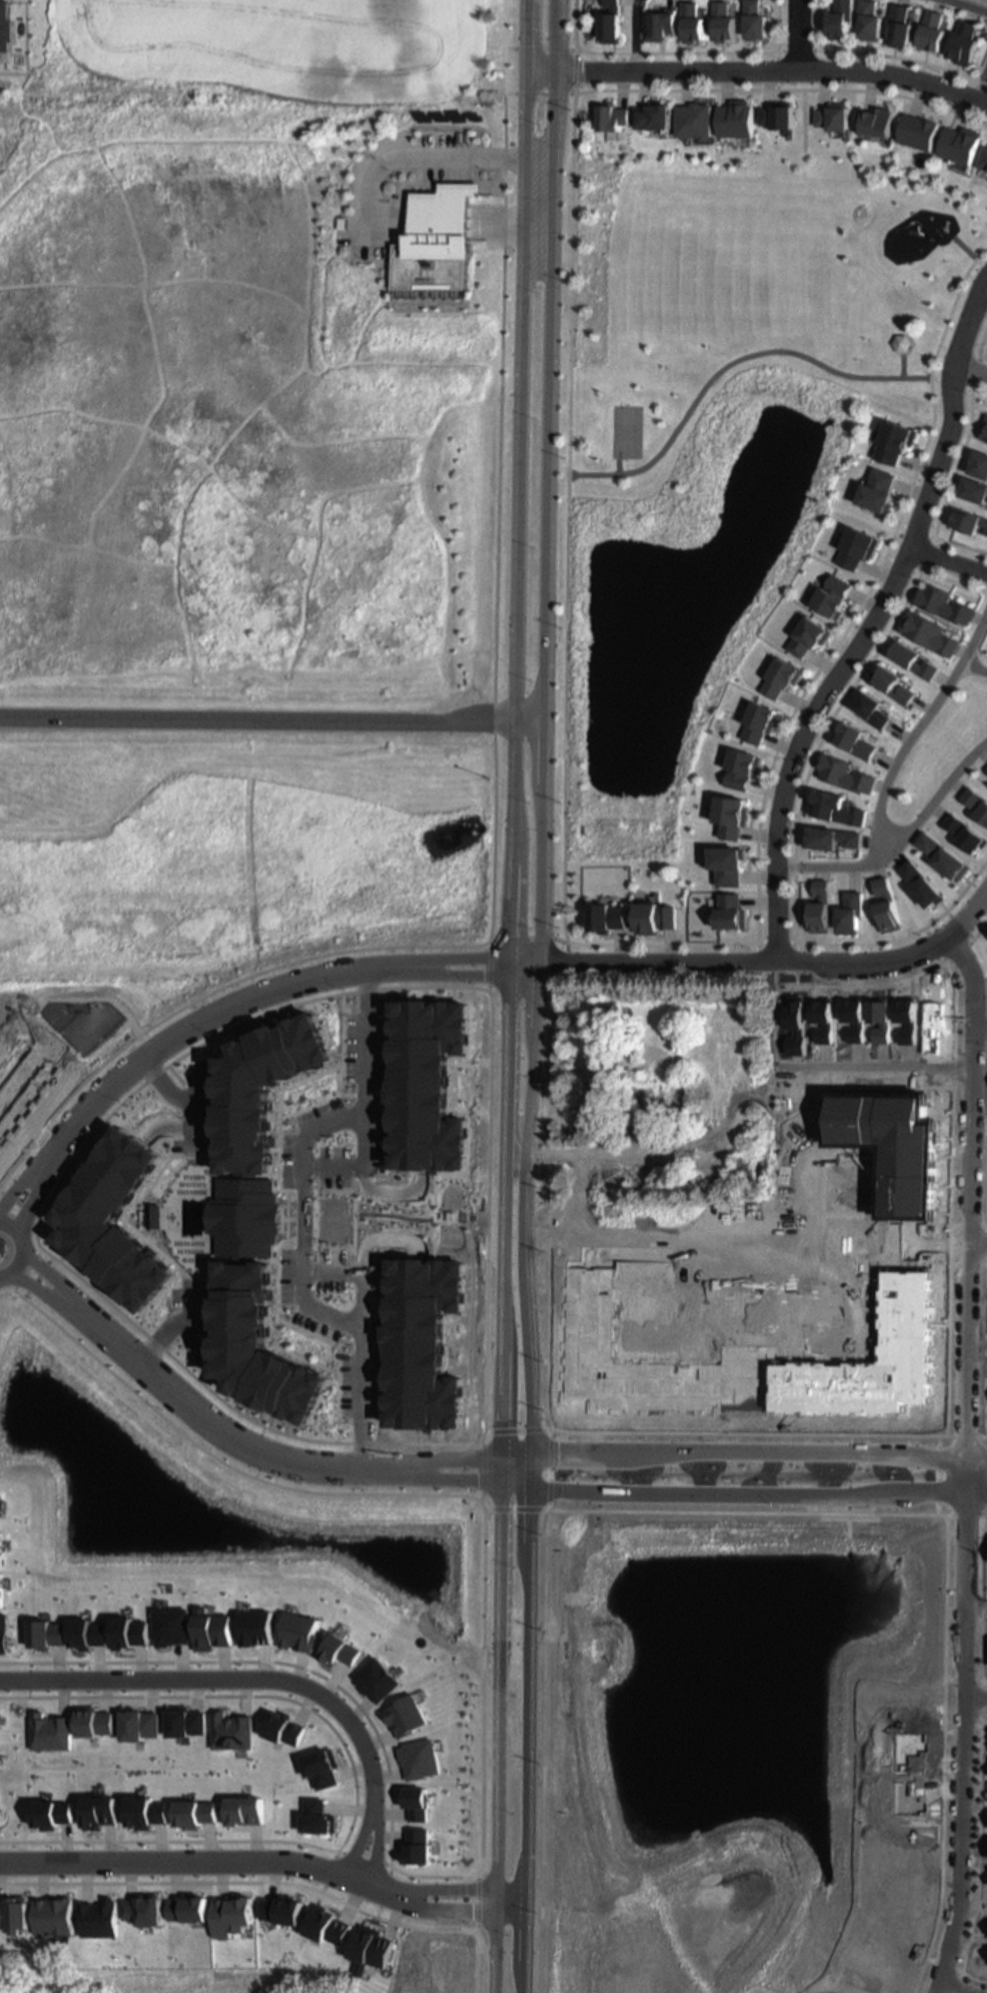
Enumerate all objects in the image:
road: (965, 6)
building: (754, 21)
building: (841, 21)
building: (872, 21)
building: (610, 24)
building: (691, 24)
building: (723, 24)
building: (4, 25)
road: (576, 25)
road: (816, 26)
building: (904, 26)
building: (662, 27)
road: (775, 27)
building: (936, 32)
road: (629, 34)
road: (792, 34)
building: (966, 45)
road: (539, 49)
road: (796, 52)
road: (680, 55)
road: (900, 60)
road: (756, 68)
road: (575, 72)
road: (773, 73)
road: (783, 92)
road: (982, 92)
road: (538, 94)
building: (654, 116)
building: (776, 116)
building: (612, 117)
building: (833, 117)
building: (735, 119)
building: (693, 121)
building: (878, 122)
road: (801, 123)
building: (921, 132)
building: (964, 145)
road: (432, 156)
parking lot: (441, 160)
building: (984, 160)
building: (431, 243)
road: (965, 247)
road: (981, 264)
road: (984, 293)
road: (981, 344)
road: (730, 363)
road: (902, 366)
road: (971, 369)
road: (975, 370)
road: (949, 383)
road: (976, 393)
building: (984, 430)
park: (627, 431)
park: (710, 441)
building: (895, 441)
road: (958, 460)
building: (979, 462)
road: (618, 465)
building: (975, 488)
building: (879, 490)
building: (967, 519)
road: (570, 526)
building: (986, 530)
road: (915, 532)
building: (858, 547)
road: (959, 549)
road: (929, 554)
road: (949, 561)
road: (902, 566)
road: (954, 580)
building: (834, 596)
road: (863, 602)
building: (944, 603)
road: (875, 621)
building: (929, 632)
road: (516, 634)
building: (809, 635)
building: (912, 657)
road: (974, 668)
building: (781, 676)
building: (894, 683)
building: (872, 709)
road: (271, 720)
building: (759, 722)
road: (917, 727)
building: (855, 741)
road: (820, 742)
road: (542, 744)
park: (939, 747)
road: (494, 750)
building: (742, 768)
building: (847, 774)
building: (976, 802)
building: (836, 808)
building: (731, 815)
building: (965, 833)
building: (830, 837)
road: (897, 839)
building: (943, 856)
building: (726, 864)
building: (920, 884)
building: (818, 906)
building: (885, 906)
building: (729, 911)
building: (848, 912)
building: (605, 917)
building: (652, 917)
road: (532, 936)
road: (891, 940)
road: (664, 944)
road: (794, 948)
road: (778, 958)
road: (864, 984)
road: (261, 998)
road: (980, 1027)
road: (810, 1066)
building: (430, 1089)
road: (180, 1100)
building: (642, 1112)
building: (894, 1143)
road: (363, 1163)
road: (950, 1177)
park: (978, 1177)
building: (715, 1185)
road: (16, 1188)
road: (388, 1189)
road: (35, 1202)
road: (356, 1218)
building: (157, 1219)
road: (309, 1219)
building: (261, 1220)
road: (660, 1220)
building: (119, 1224)
road: (915, 1233)
road: (382, 1235)
road: (797, 1244)
road: (942, 1245)
road: (978, 1245)
road: (26, 1249)
road: (915, 1256)
building: (640, 1261)
road: (54, 1272)
road: (360, 1272)
road: (43, 1288)
building: (565, 1318)
road: (976, 1343)
building: (427, 1345)
building: (748, 1359)
road: (216, 1428)
road: (735, 1432)
road: (758, 1453)
road: (465, 1460)
road: (964, 1463)
road: (937, 1473)
road: (464, 1482)
road: (758, 1493)
building: (3, 1505)
road: (735, 1512)
building: (1, 1541)
building: (0, 1590)
road: (544, 1600)
road: (975, 1605)
building: (172, 1626)
building: (255, 1627)
building: (212, 1630)
road: (501, 1630)
building: (298, 1632)
building: (3, 1633)
building: (130, 1633)
building: (48, 1634)
building: (89, 1634)
building: (340, 1651)
road: (225, 1680)
building: (376, 1680)
road: (975, 1699)
building: (404, 1715)
building: (96, 1722)
building: (186, 1722)
building: (141, 1724)
building: (285, 1728)
building: (232, 1730)
building: (51, 1732)
road: (481, 1737)
road: (524, 1739)
road: (944, 1755)
building: (418, 1759)
building: (322, 1768)
building: (235, 1791)
building: (414, 1803)
building: (246, 1810)
building: (101, 1812)
building: (148, 1813)
building: (197, 1813)
building: (53, 1814)
building: (315, 1817)
road: (241, 1840)
road: (342, 1841)
road: (357, 1841)
road: (375, 1844)
building: (415, 1846)
road: (388, 1856)
road: (200, 1859)
building: (153, 1876)
road: (242, 1882)
building: (17, 1888)
road: (458, 1889)
road: (457, 1908)
building: (144, 1909)
building: (188, 1909)
building: (281, 1910)
building: (12, 1913)
building: (231, 1915)
building: (51, 1916)
building: (97, 1918)
building: (325, 1926)
building: (368, 1949)
park: (151, 1981)
building: (191, 1983)
road: (958, 1986)

